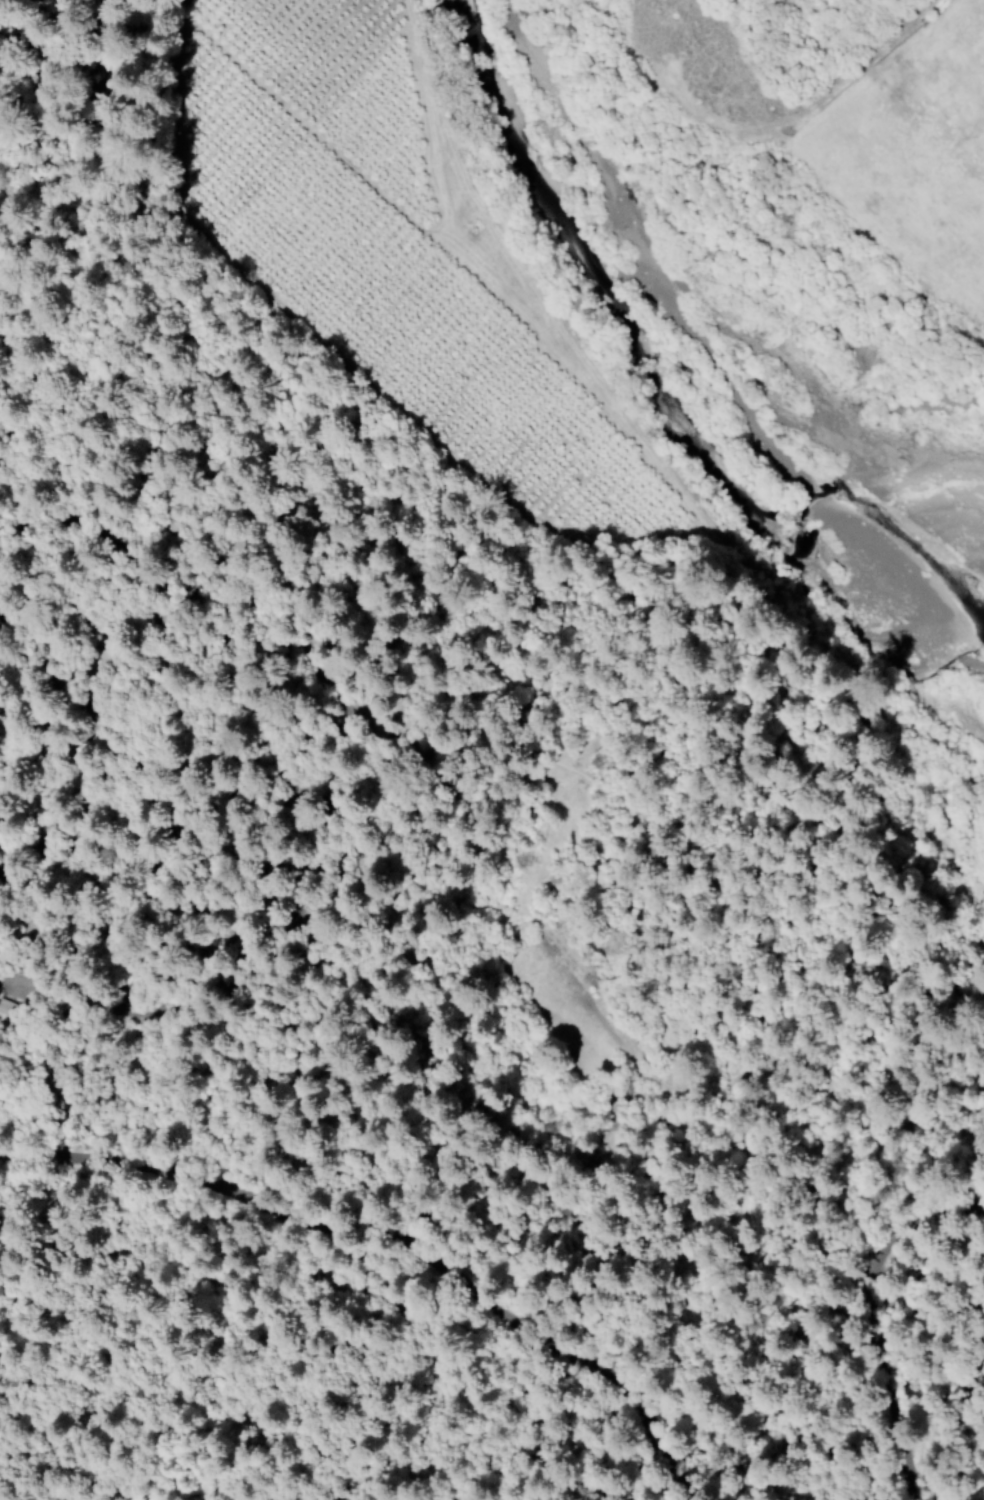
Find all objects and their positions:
road: (31, 45)
road: (351, 374)
river: (690, 378)
road: (156, 410)
road: (20, 415)
road: (499, 629)
road: (51, 900)
road: (70, 995)
road: (492, 995)
road: (197, 1089)
road: (510, 1205)
road: (937, 1217)
road: (167, 1308)
road: (921, 1315)
road: (73, 1326)

